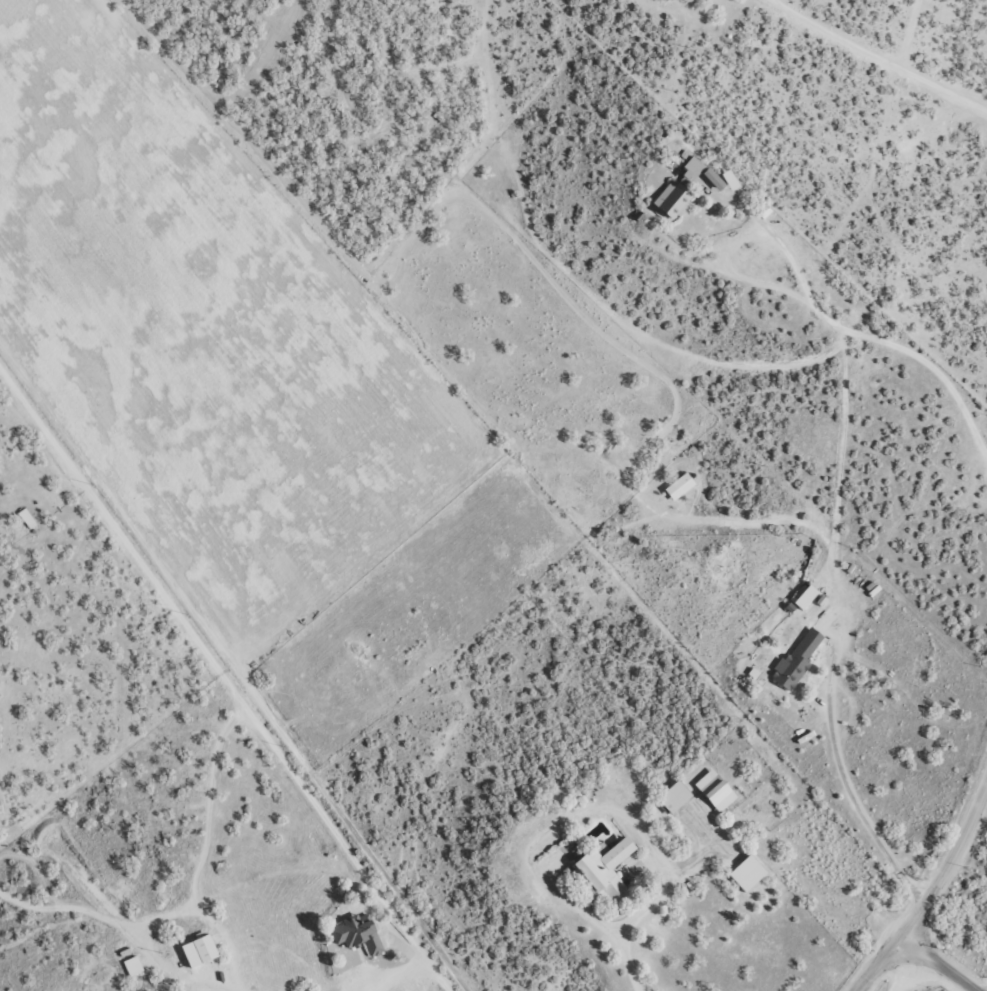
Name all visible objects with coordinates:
building: (691, 170)
building: (714, 179)
building: (731, 180)
building: (674, 200)
building: (680, 486)
building: (27, 518)
building: (804, 597)
road: (213, 658)
building: (798, 659)
road: (112, 760)
building: (716, 789)
building: (675, 797)
road: (916, 803)
building: (606, 867)
building: (748, 873)
building: (358, 933)
building: (200, 950)
road: (928, 957)
building: (133, 966)

